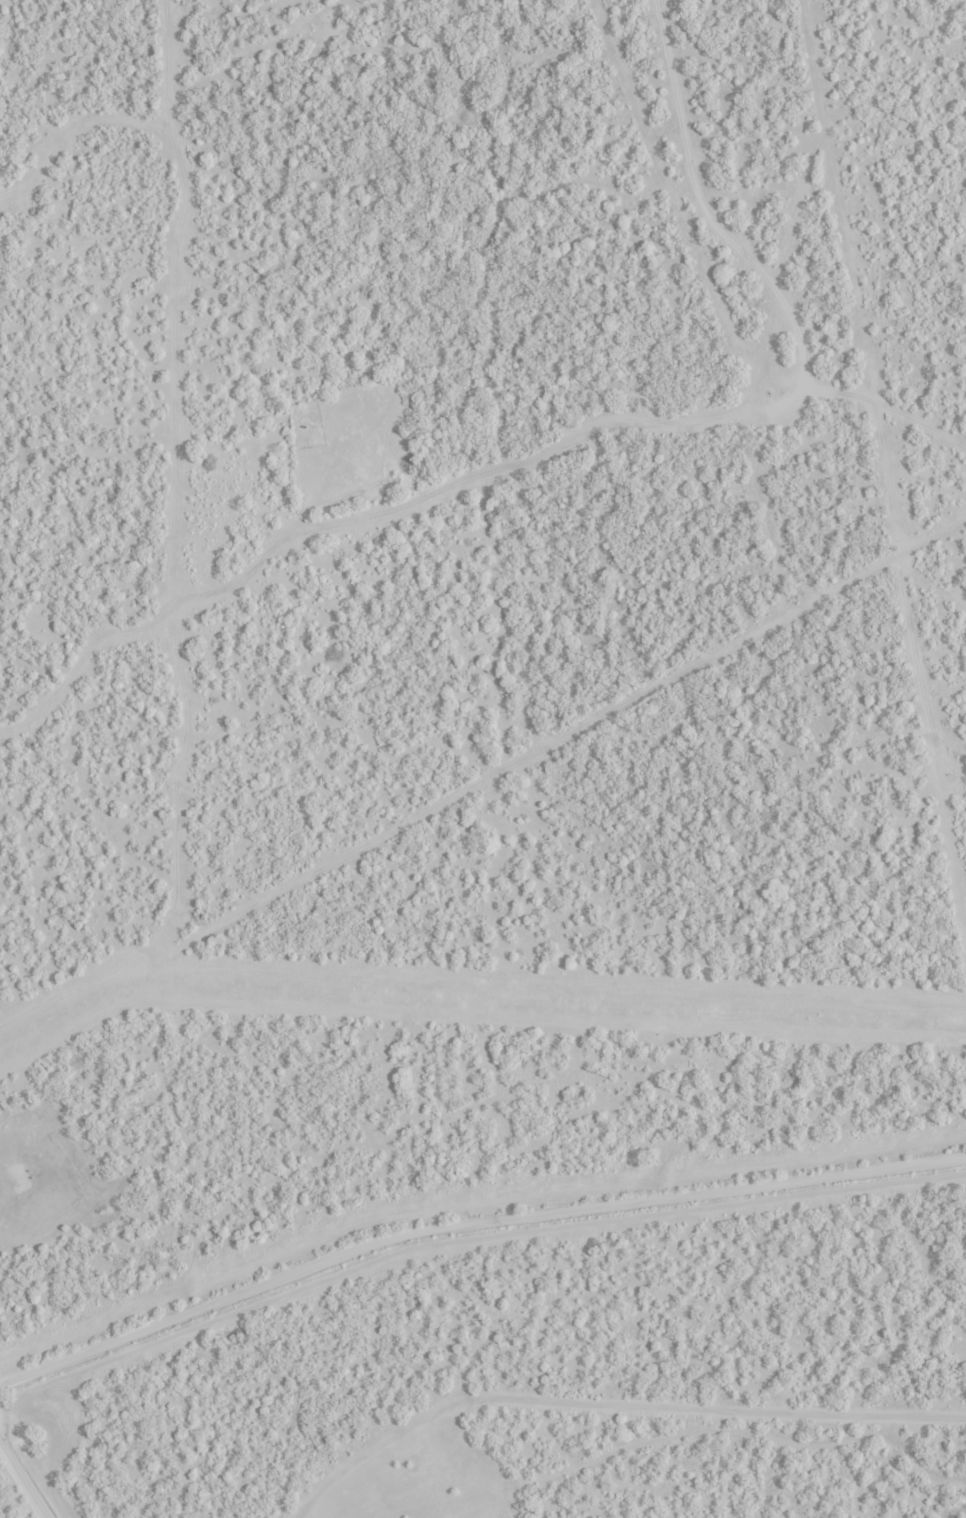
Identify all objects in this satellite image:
road: (714, 221)
building: (754, 380)
road: (471, 1224)
road: (24, 1480)

